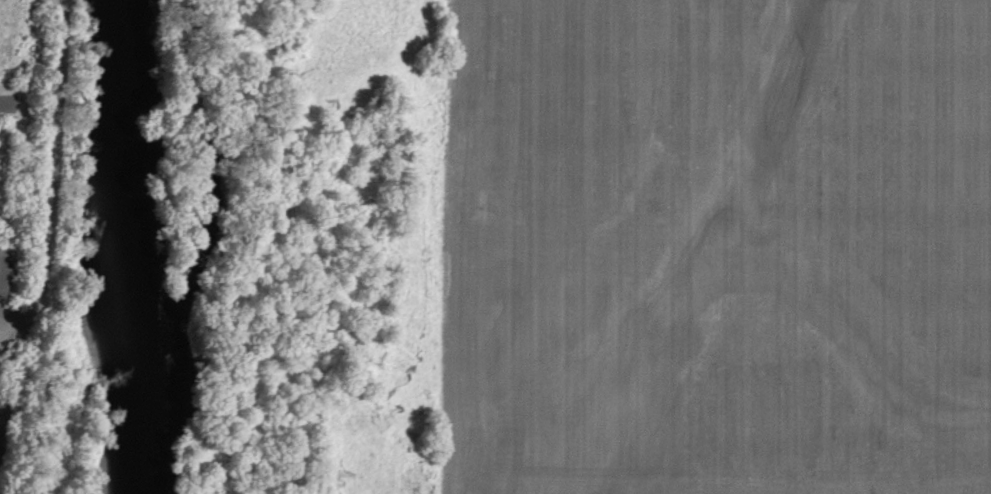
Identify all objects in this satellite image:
road: (53, 176)
river: (139, 248)
building: (8, 269)

